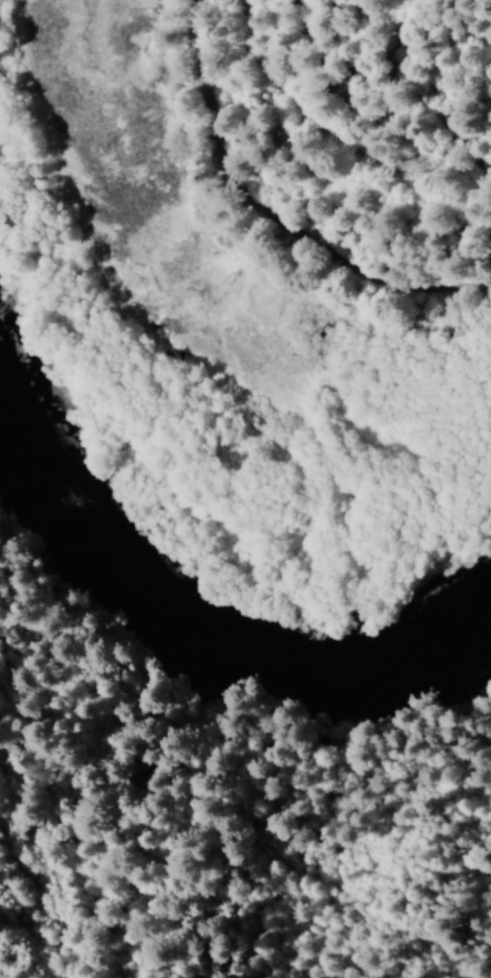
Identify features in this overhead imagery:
road: (378, 159)
road: (273, 214)

